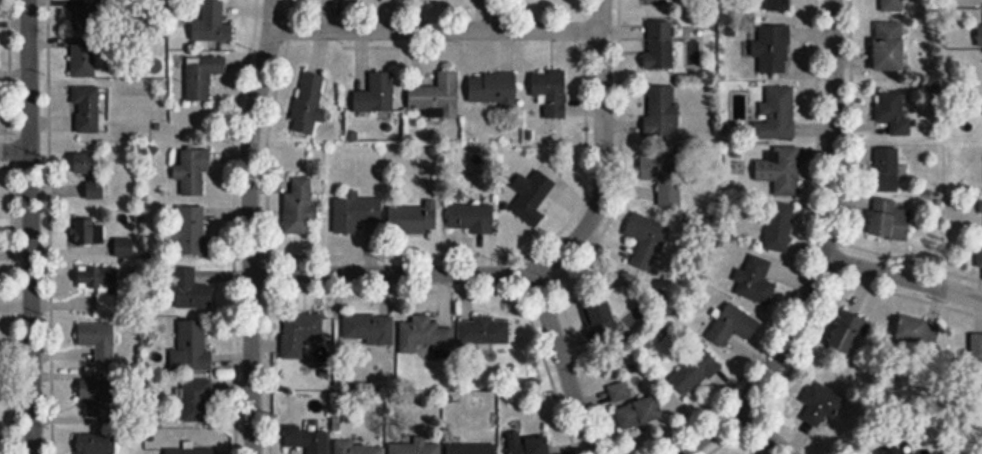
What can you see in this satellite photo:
building: (779, 6)
building: (889, 6)
building: (84, 17)
building: (212, 24)
road: (437, 28)
building: (980, 36)
building: (660, 45)
building: (890, 47)
building: (773, 49)
building: (83, 58)
building: (202, 76)
building: (494, 89)
building: (551, 92)
building: (377, 94)
building: (438, 96)
building: (309, 98)
building: (87, 109)
building: (894, 111)
building: (662, 112)
building: (777, 113)
road: (15, 150)
building: (781, 169)
building: (886, 170)
building: (193, 171)
building: (92, 173)
building: (669, 191)
building: (538, 195)
building: (981, 208)
building: (300, 209)
building: (355, 212)
building: (414, 218)
building: (471, 218)
building: (887, 220)
road: (249, 225)
road: (31, 226)
building: (779, 228)
building: (189, 230)
building: (90, 231)
building: (645, 240)
road: (823, 253)
building: (980, 257)
road: (539, 265)
road: (902, 277)
building: (755, 280)
building: (100, 282)
building: (189, 291)
building: (602, 318)
building: (733, 324)
building: (302, 326)
building: (368, 330)
building: (918, 330)
building: (484, 331)
building: (848, 332)
building: (424, 334)
building: (102, 342)
building: (192, 347)
building: (974, 350)
road: (562, 362)
building: (695, 371)
building: (619, 391)
building: (197, 400)
building: (820, 404)
building: (640, 412)
road: (760, 430)
building: (308, 440)
building: (96, 443)
building: (528, 444)
building: (356, 448)
building: (415, 448)
building: (472, 448)
building: (191, 450)
building: (898, 451)

